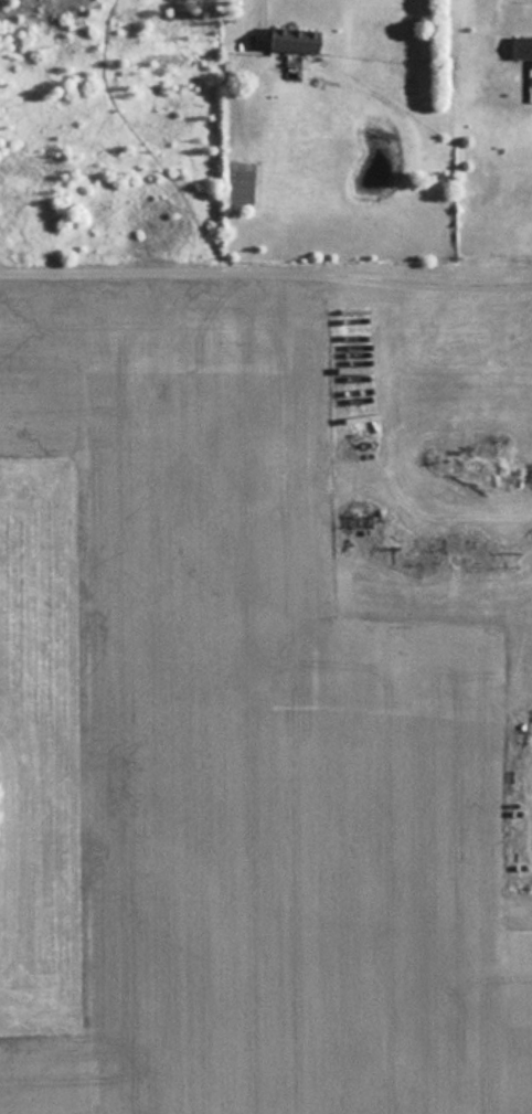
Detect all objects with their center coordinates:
building: (298, 38)
building: (522, 45)

